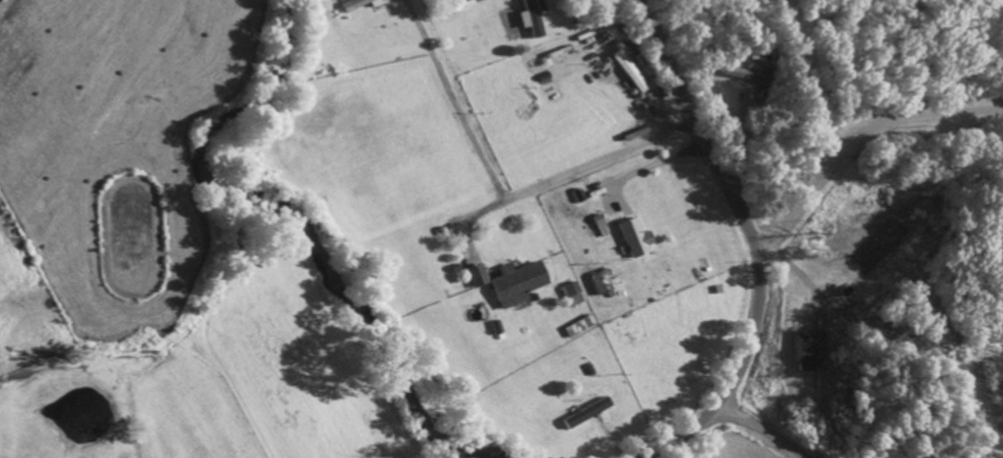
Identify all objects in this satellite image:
building: (365, 4)
building: (626, 74)
building: (741, 77)
road: (857, 145)
road: (564, 178)
road: (752, 238)
building: (634, 240)
building: (474, 279)
building: (598, 286)
building: (514, 287)
building: (571, 297)
building: (807, 352)
road: (765, 429)

